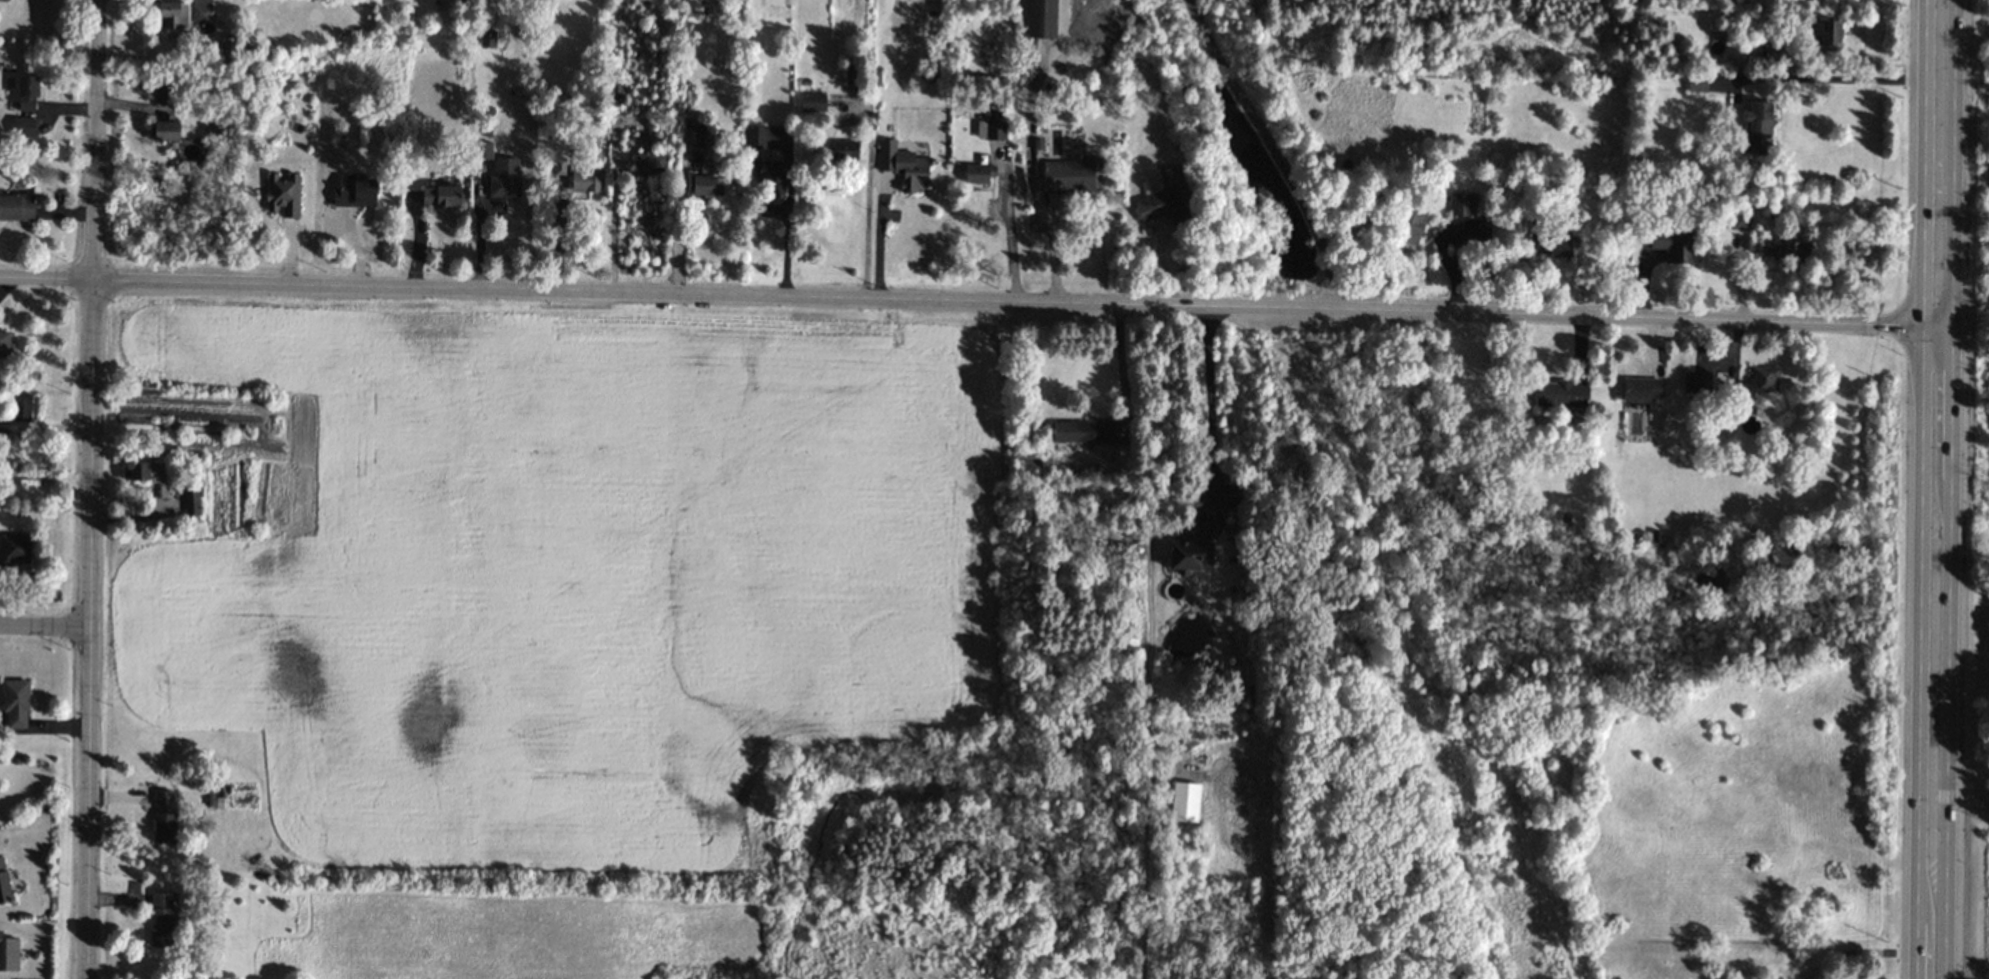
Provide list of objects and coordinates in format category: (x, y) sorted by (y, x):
building: (4, 0)
building: (173, 14)
building: (1041, 19)
building: (1829, 34)
building: (228, 50)
road: (1832, 78)
building: (1697, 86)
building: (162, 89)
building: (27, 93)
building: (812, 103)
building: (1758, 123)
building: (23, 127)
building: (166, 129)
building: (990, 129)
building: (756, 136)
building: (844, 149)
building: (481, 150)
road: (1272, 152)
building: (651, 162)
building: (902, 164)
road: (1938, 164)
building: (559, 166)
building: (978, 173)
building: (769, 174)
building: (1068, 177)
building: (505, 178)
building: (584, 180)
road: (1031, 185)
building: (705, 186)
building: (355, 192)
building: (283, 195)
building: (440, 196)
road: (867, 200)
building: (1461, 204)
building: (1162, 205)
building: (16, 207)
road: (786, 219)
building: (1738, 221)
building: (1411, 226)
road: (1007, 229)
road: (556, 237)
building: (1534, 239)
road: (877, 242)
building: (1674, 245)
building: (1559, 247)
building: (1784, 250)
road: (968, 303)
building: (6, 344)
road: (1119, 368)
building: (1697, 381)
building: (1759, 382)
building: (1640, 389)
building: (1561, 394)
road: (1209, 399)
building: (21, 408)
building: (1082, 431)
building: (138, 467)
road: (90, 489)
building: (191, 501)
park: (1962, 519)
building: (14, 549)
building: (1189, 555)
road: (44, 625)
road: (1933, 653)
building: (15, 703)
building: (1185, 802)
building: (164, 817)
building: (4, 883)
building: (161, 917)
building: (8, 954)

